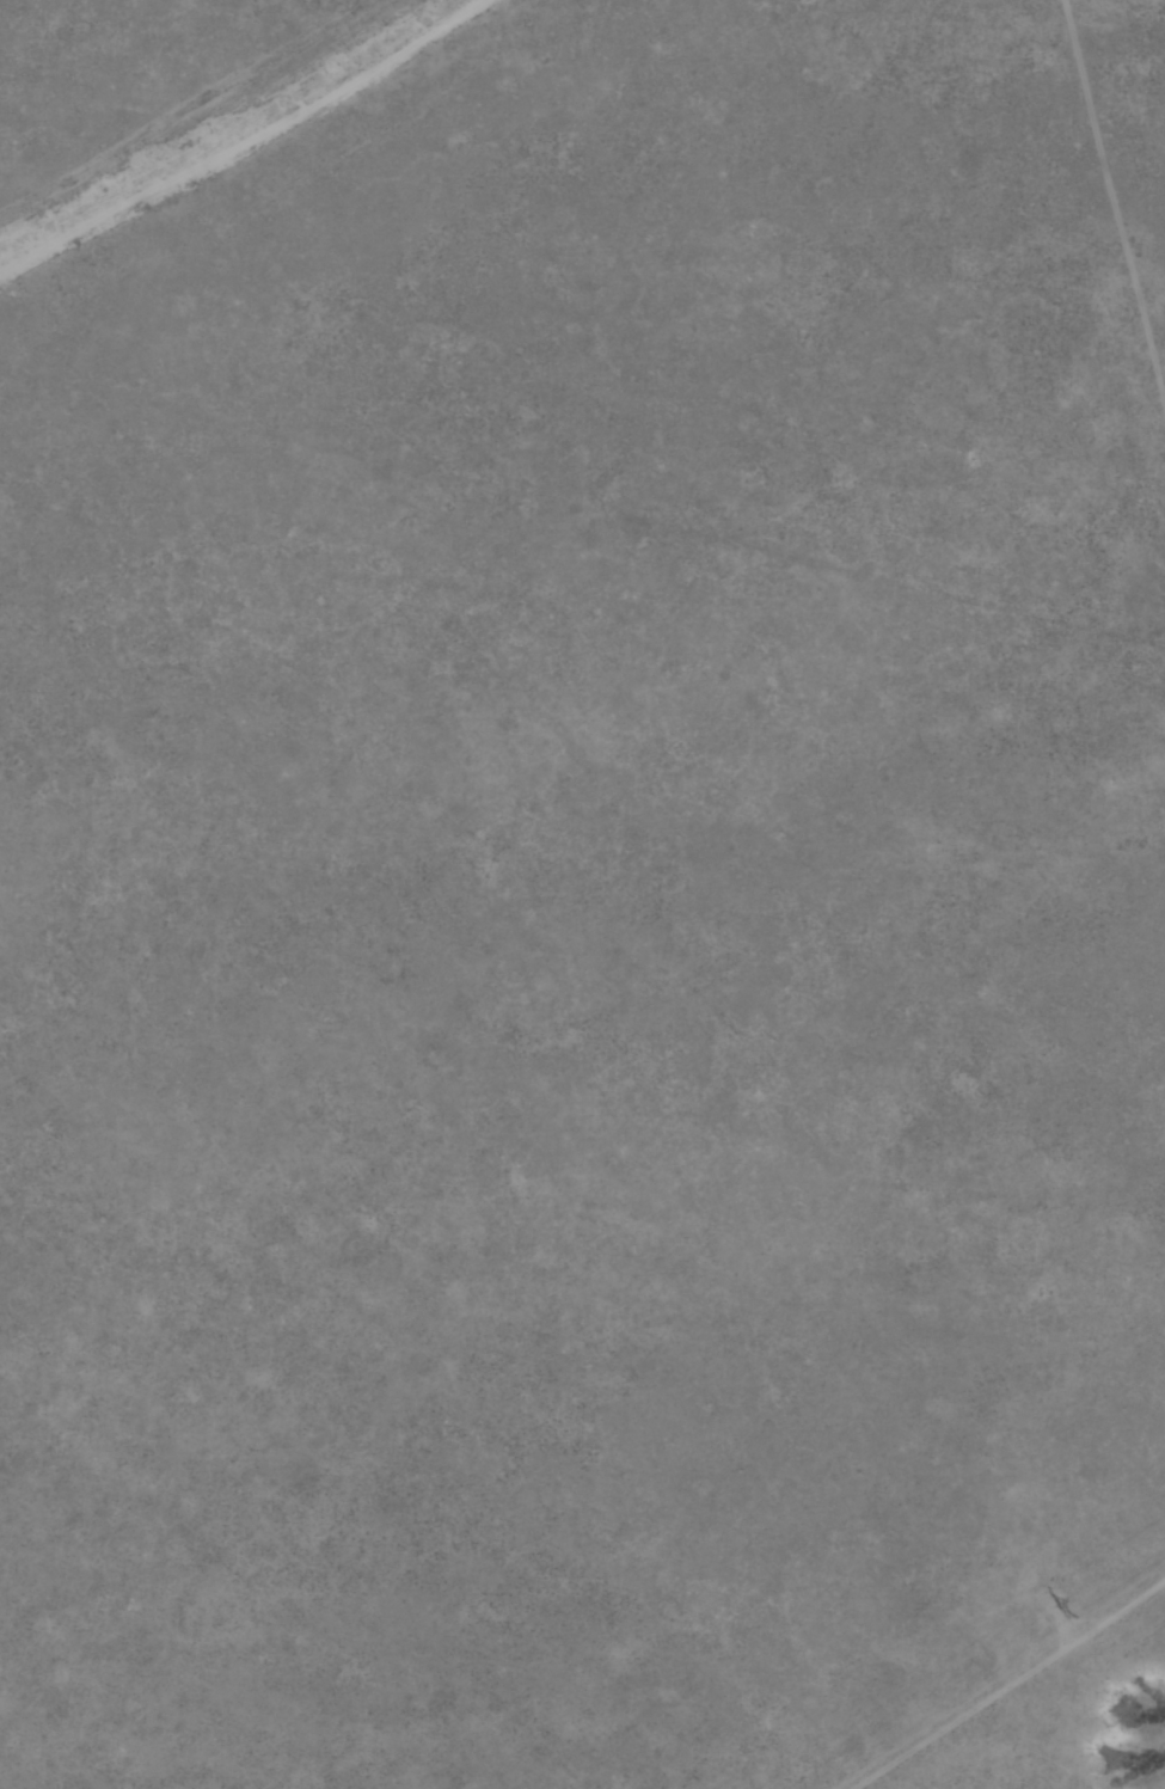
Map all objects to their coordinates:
road: (240, 139)
power tower: (1079, 1604)

